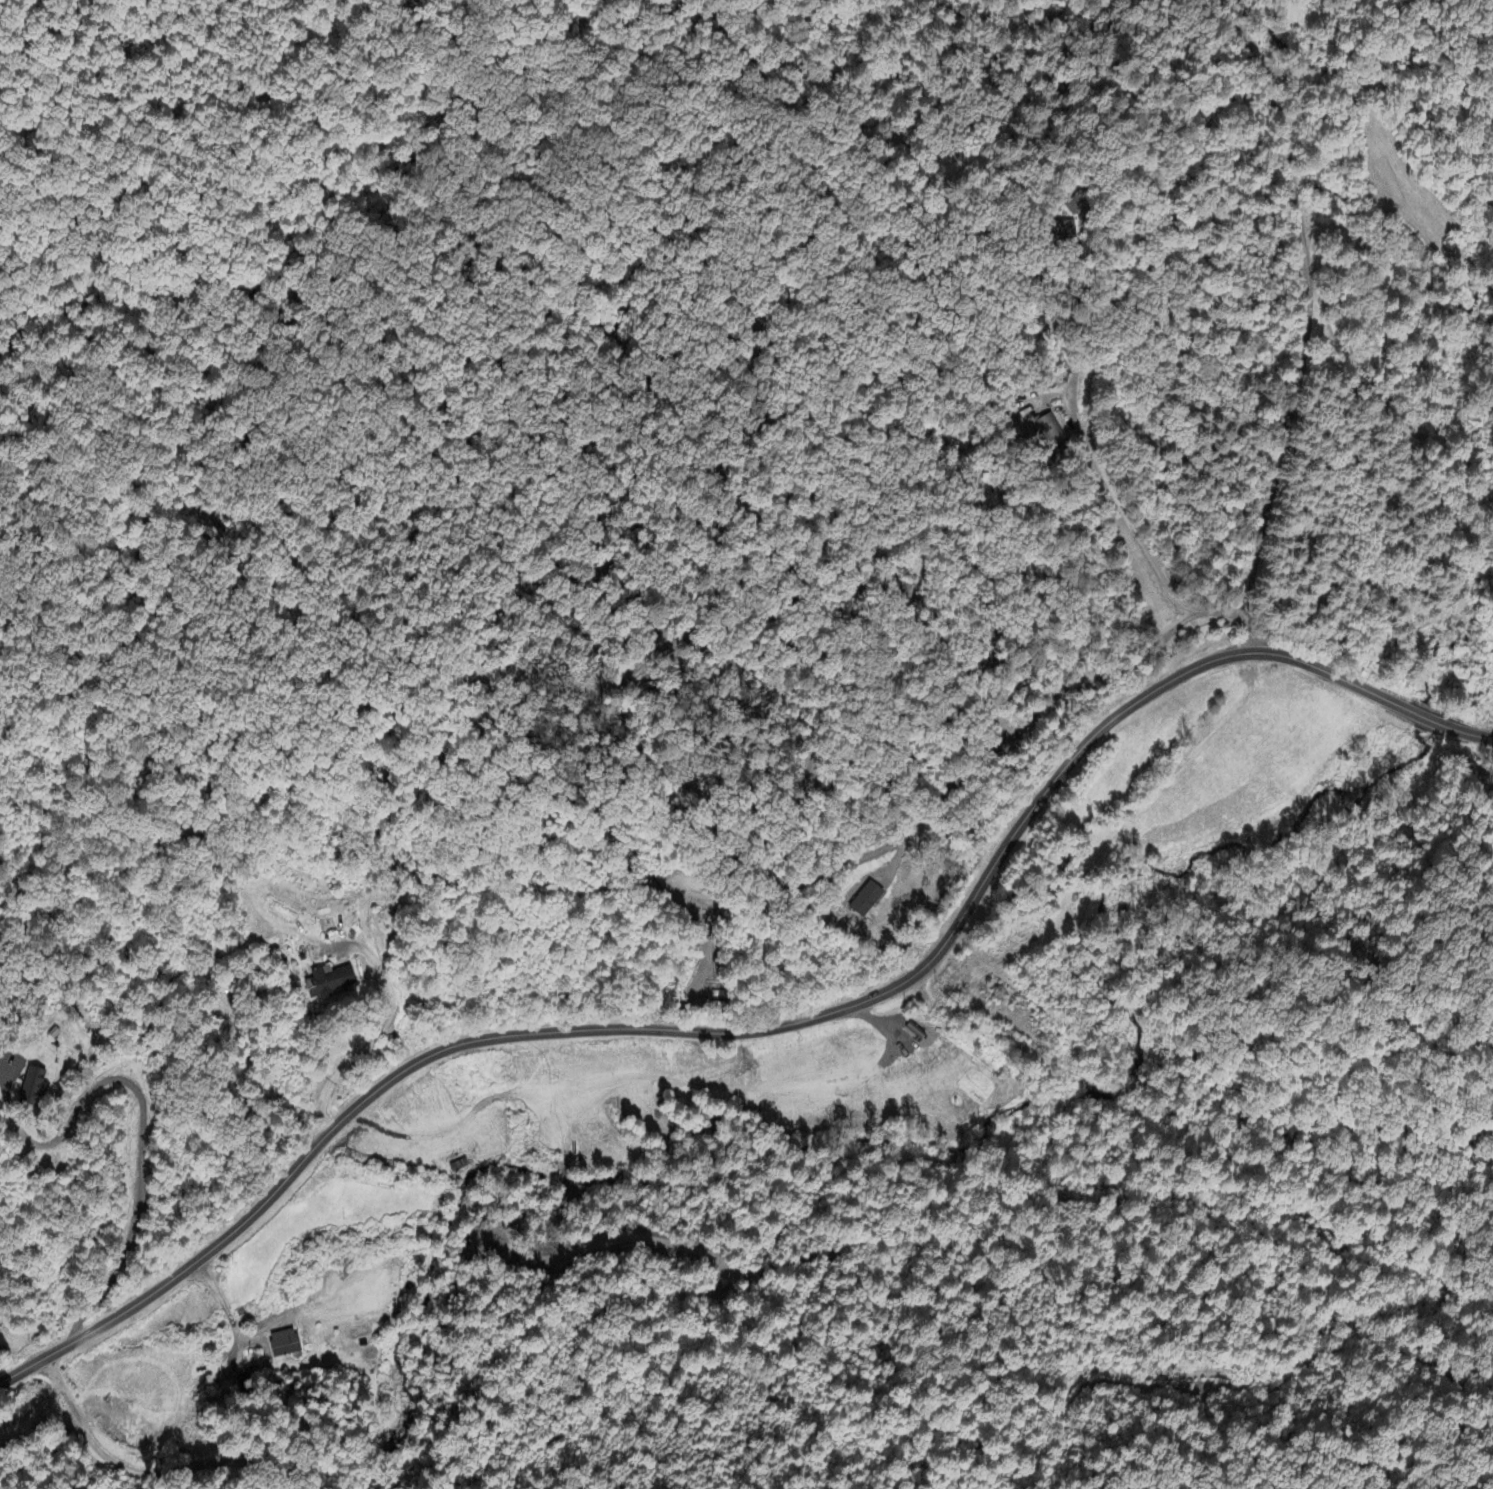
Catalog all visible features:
road: (1010, 25)
building: (1056, 228)
road: (1309, 319)
building: (1066, 458)
road: (1116, 516)
road: (1033, 721)
road: (1419, 727)
road: (1458, 736)
building: (863, 900)
building: (331, 982)
road: (385, 1026)
road: (735, 1033)
building: (35, 1088)
road: (143, 1132)
road: (224, 1306)
building: (286, 1344)
road: (144, 1475)

